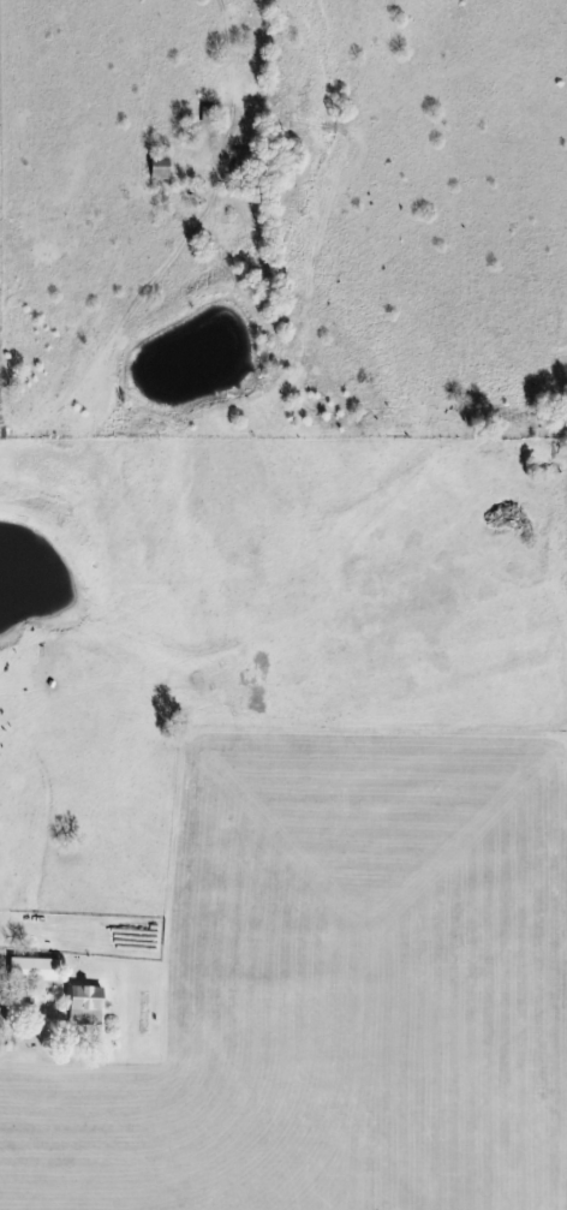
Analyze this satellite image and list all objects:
building: (35, 968)
building: (86, 1005)

